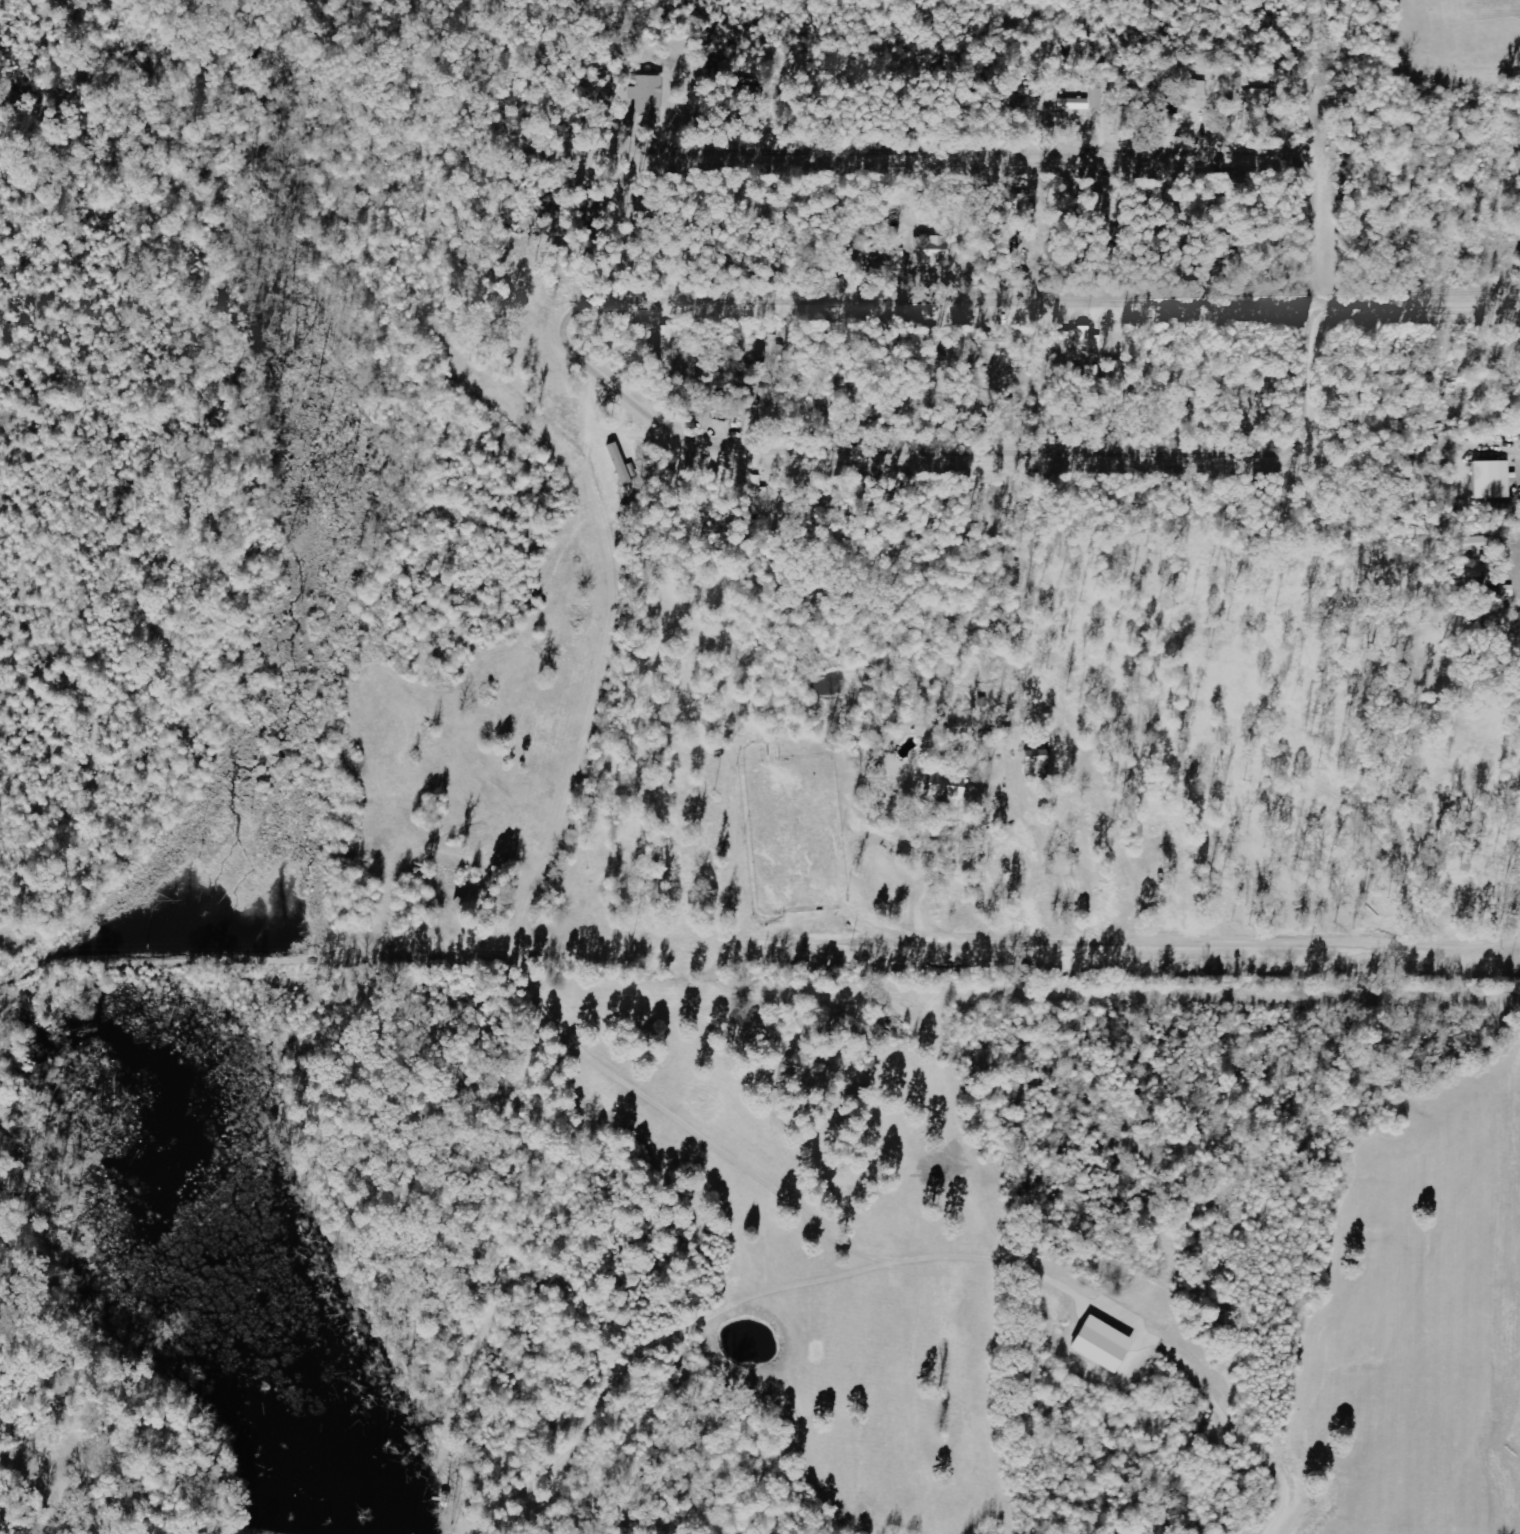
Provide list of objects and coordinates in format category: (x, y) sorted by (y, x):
road: (1103, 0)
building: (1196, 90)
building: (650, 94)
building: (1262, 96)
road: (1316, 159)
road: (931, 160)
building: (652, 210)
building: (934, 250)
road: (1416, 315)
building: (1092, 339)
building: (671, 343)
building: (777, 350)
road: (625, 401)
building: (1496, 480)
building: (1042, 759)
building: (953, 789)
building: (1108, 1345)
road: (1224, 1431)

